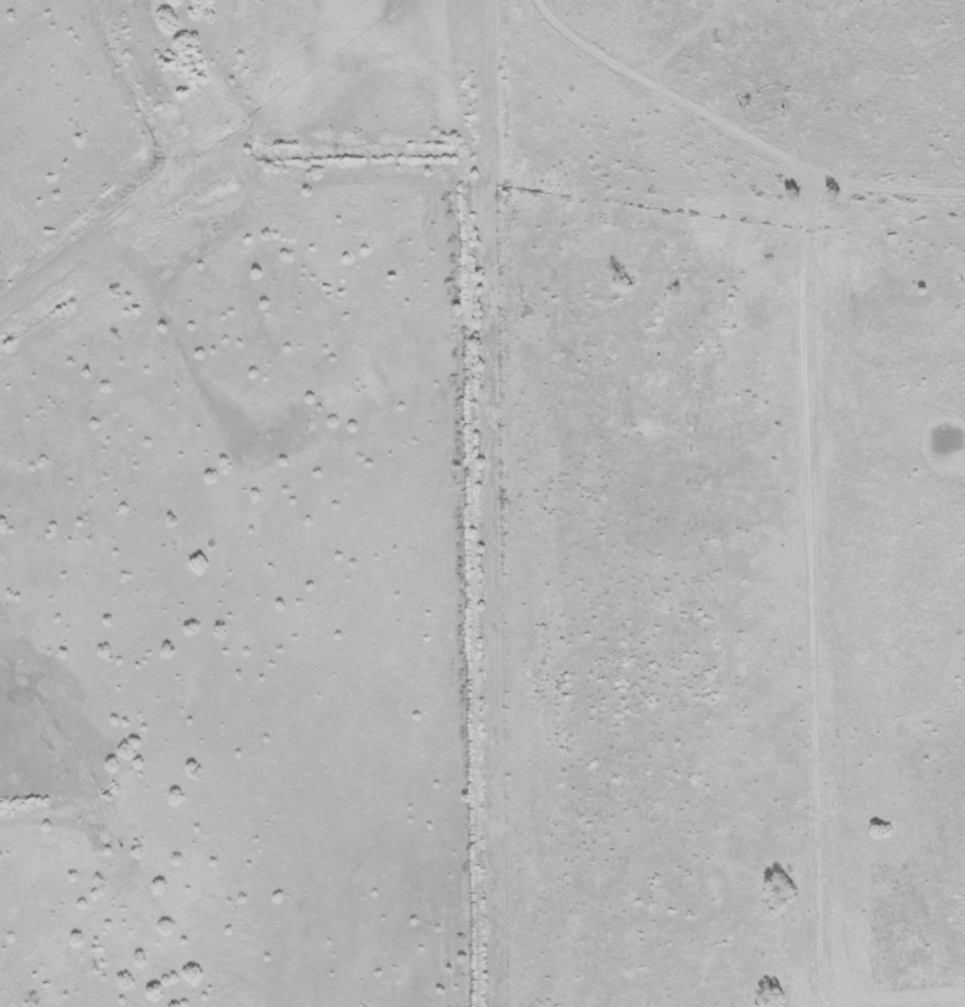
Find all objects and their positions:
road: (727, 156)
road: (36, 801)

